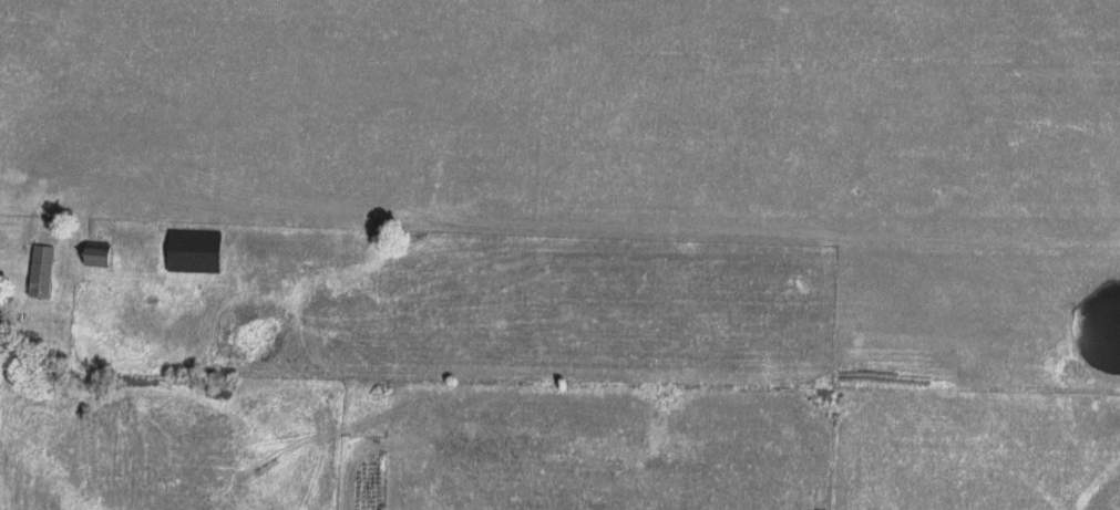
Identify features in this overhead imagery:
road: (566, 226)
road: (13, 246)
building: (193, 253)
building: (39, 273)

